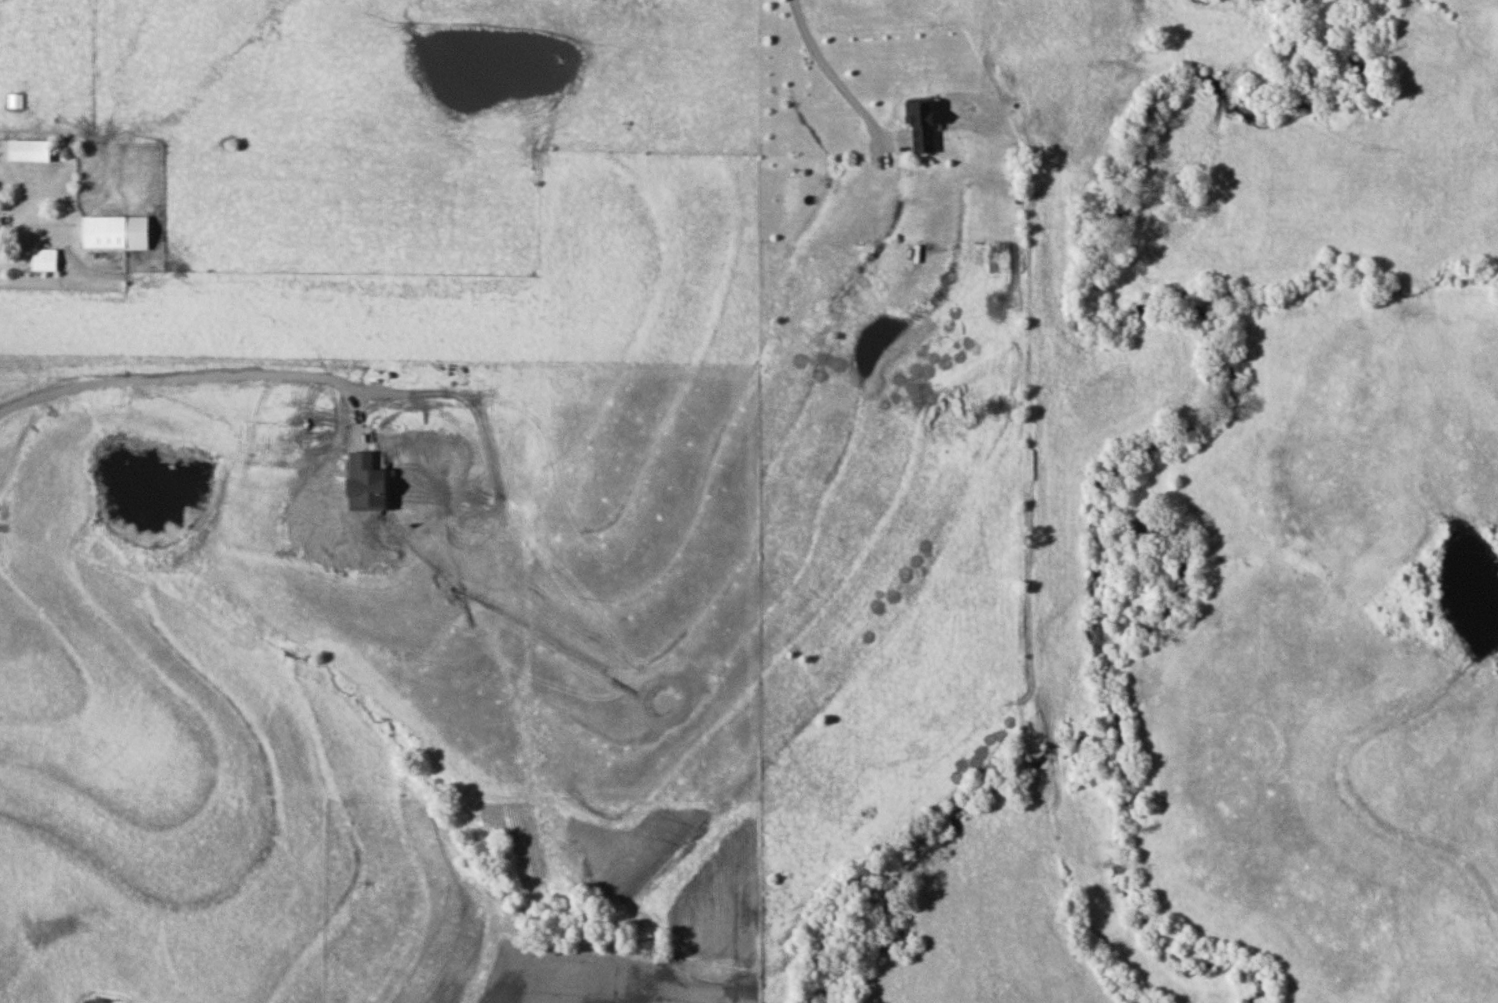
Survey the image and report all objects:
building: (15, 100)
building: (918, 124)
building: (26, 150)
building: (113, 231)
road: (25, 246)
building: (43, 261)

